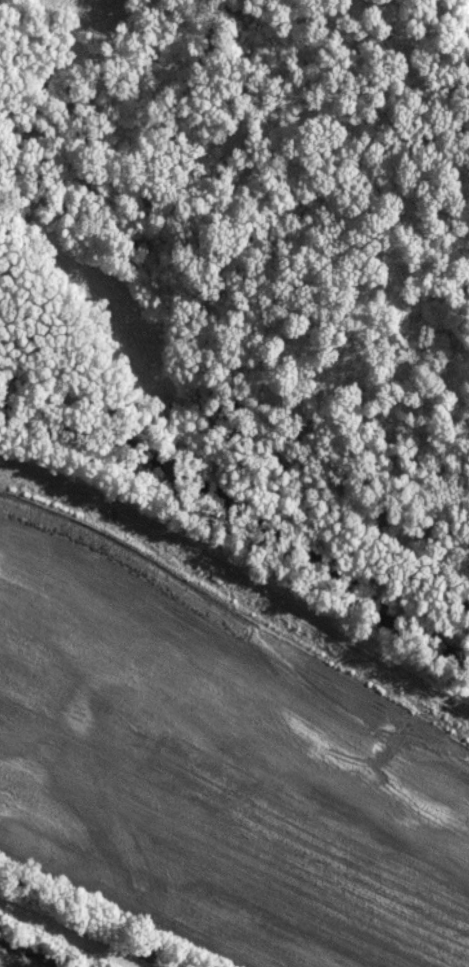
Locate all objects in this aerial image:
road: (68, 936)

